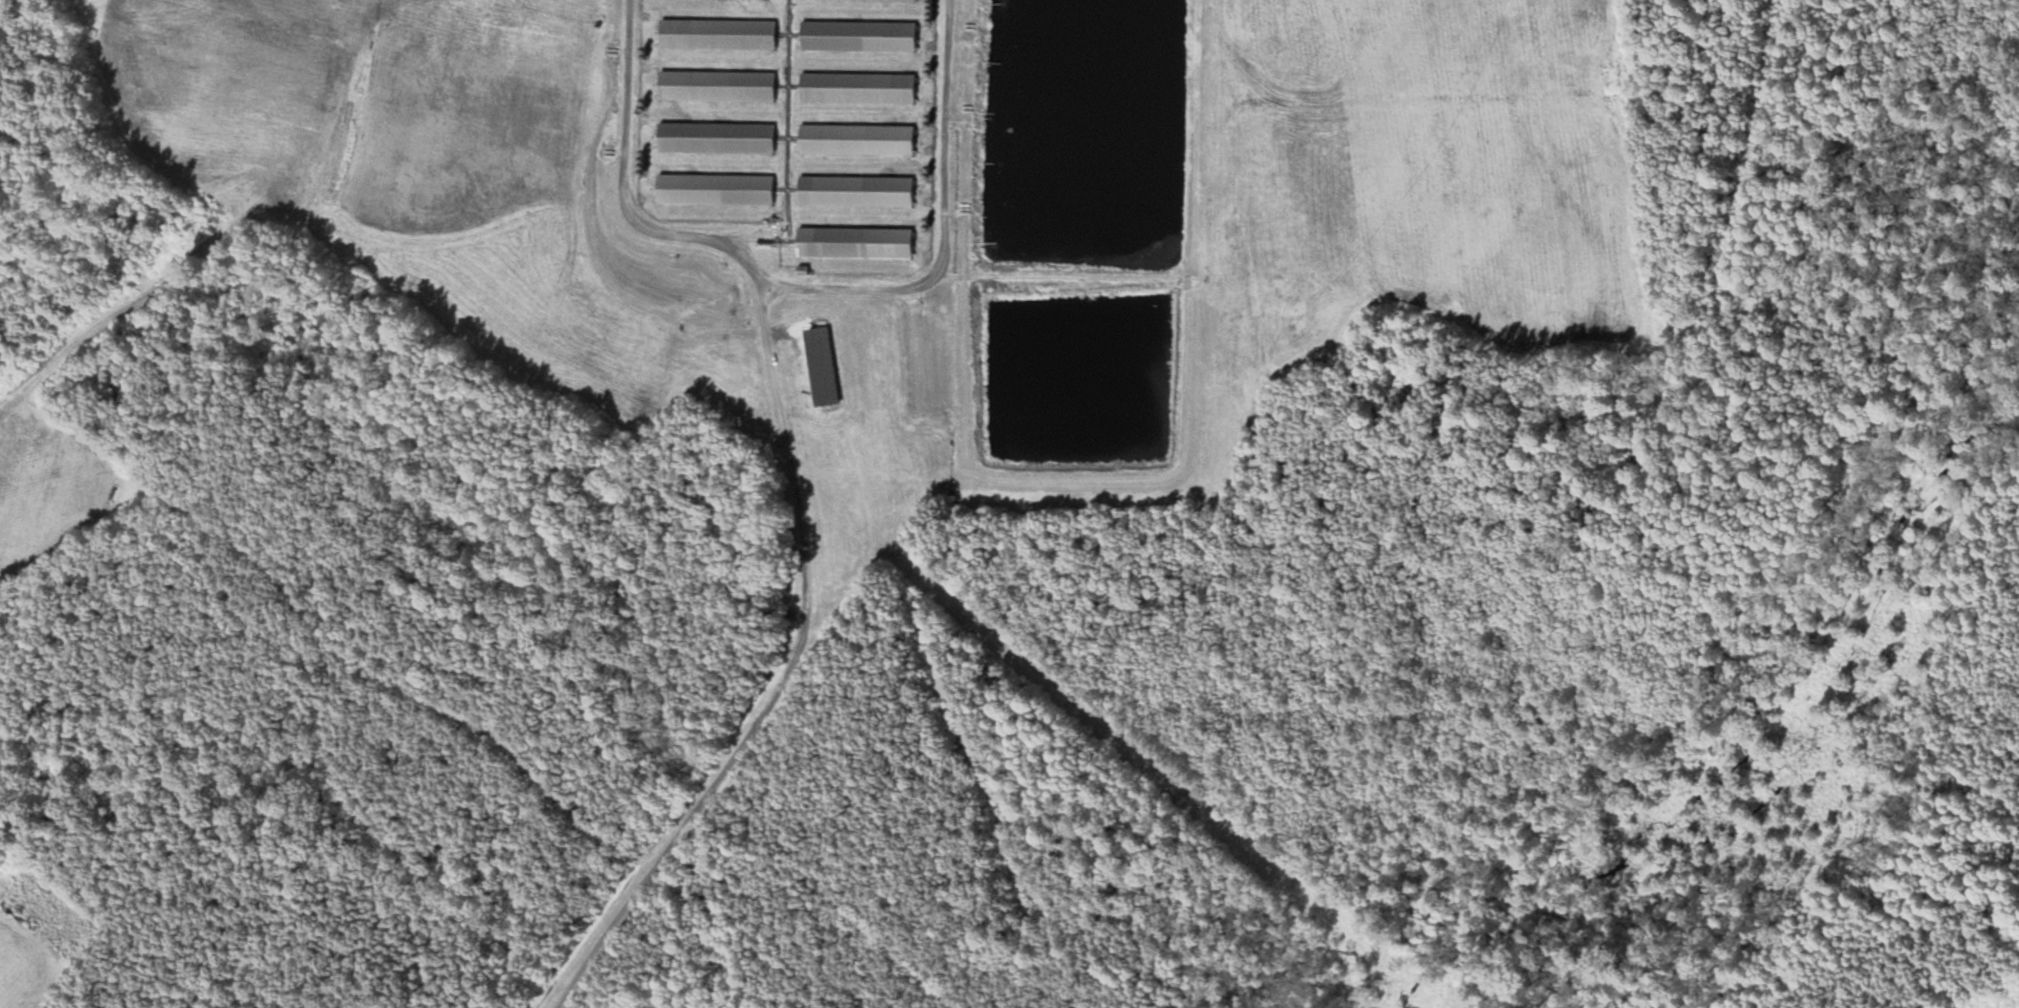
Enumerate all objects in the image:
building: (876, 0)
building: (721, 34)
building: (861, 36)
building: (721, 85)
building: (860, 88)
building: (720, 137)
building: (860, 139)
building: (720, 189)
building: (860, 190)
road: (945, 227)
building: (859, 242)
road: (790, 493)

